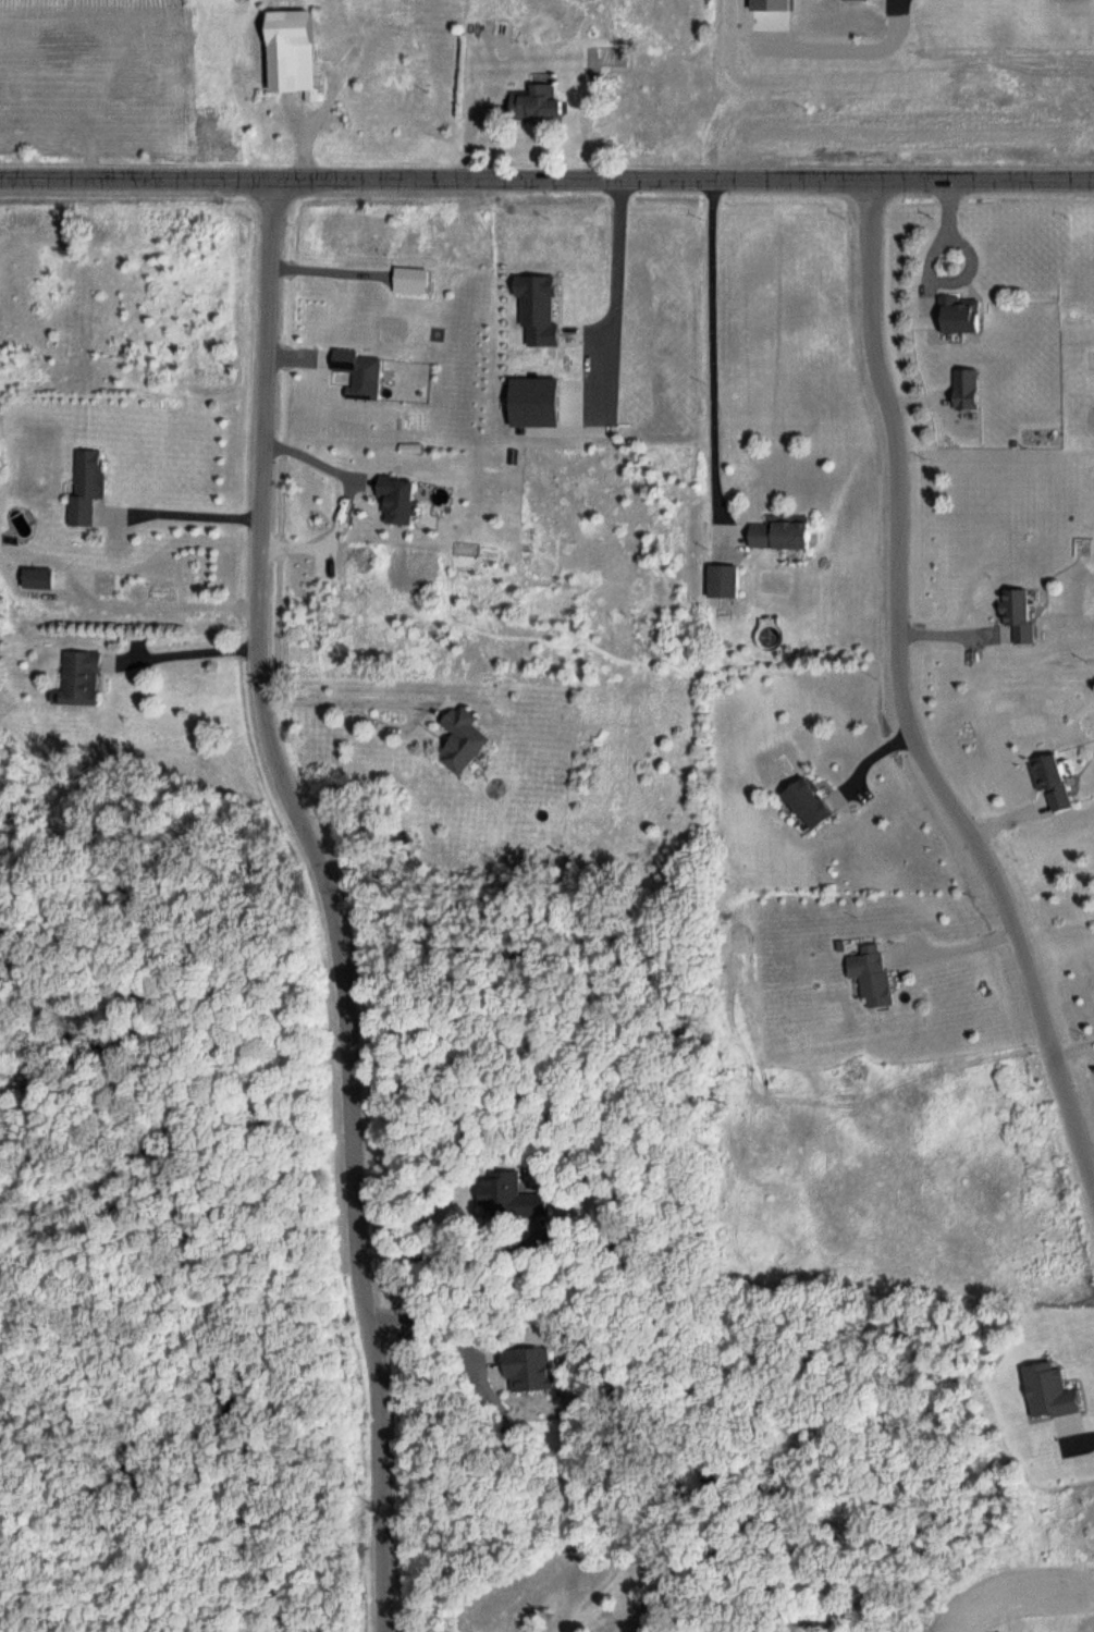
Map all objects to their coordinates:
building: (293, 52)
building: (540, 102)
road: (319, 118)
road: (546, 182)
road: (936, 271)
road: (619, 286)
building: (961, 316)
road: (716, 348)
building: (966, 393)
building: (88, 488)
road: (200, 514)
building: (783, 535)
building: (39, 580)
building: (724, 582)
building: (1020, 613)
road: (192, 651)
building: (81, 680)
road: (348, 700)
road: (906, 704)
building: (465, 740)
building: (1053, 784)
building: (810, 806)
road: (334, 901)
road: (949, 942)
building: (873, 975)
building: (513, 1199)
building: (528, 1371)
road: (1067, 1444)

